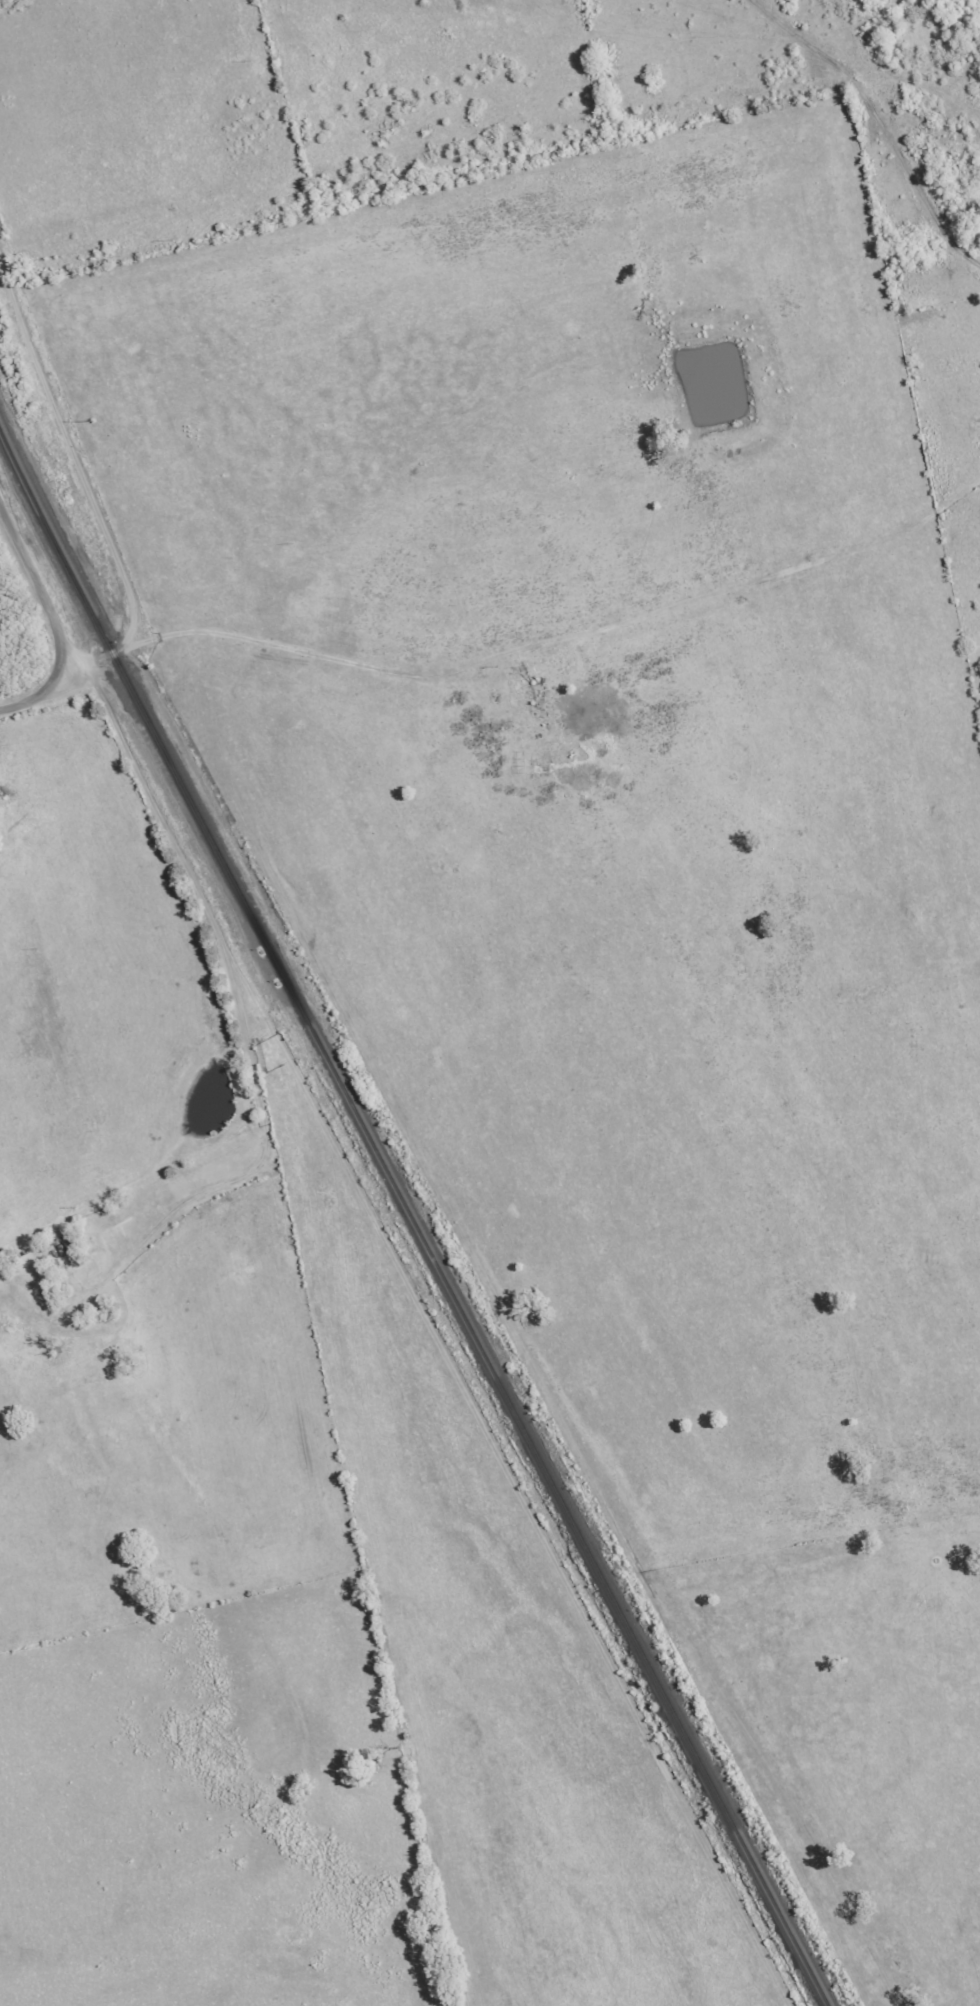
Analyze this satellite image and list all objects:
road: (72, 448)
road: (53, 619)
road: (287, 649)
road: (95, 661)
road: (72, 686)
railway: (410, 1217)

